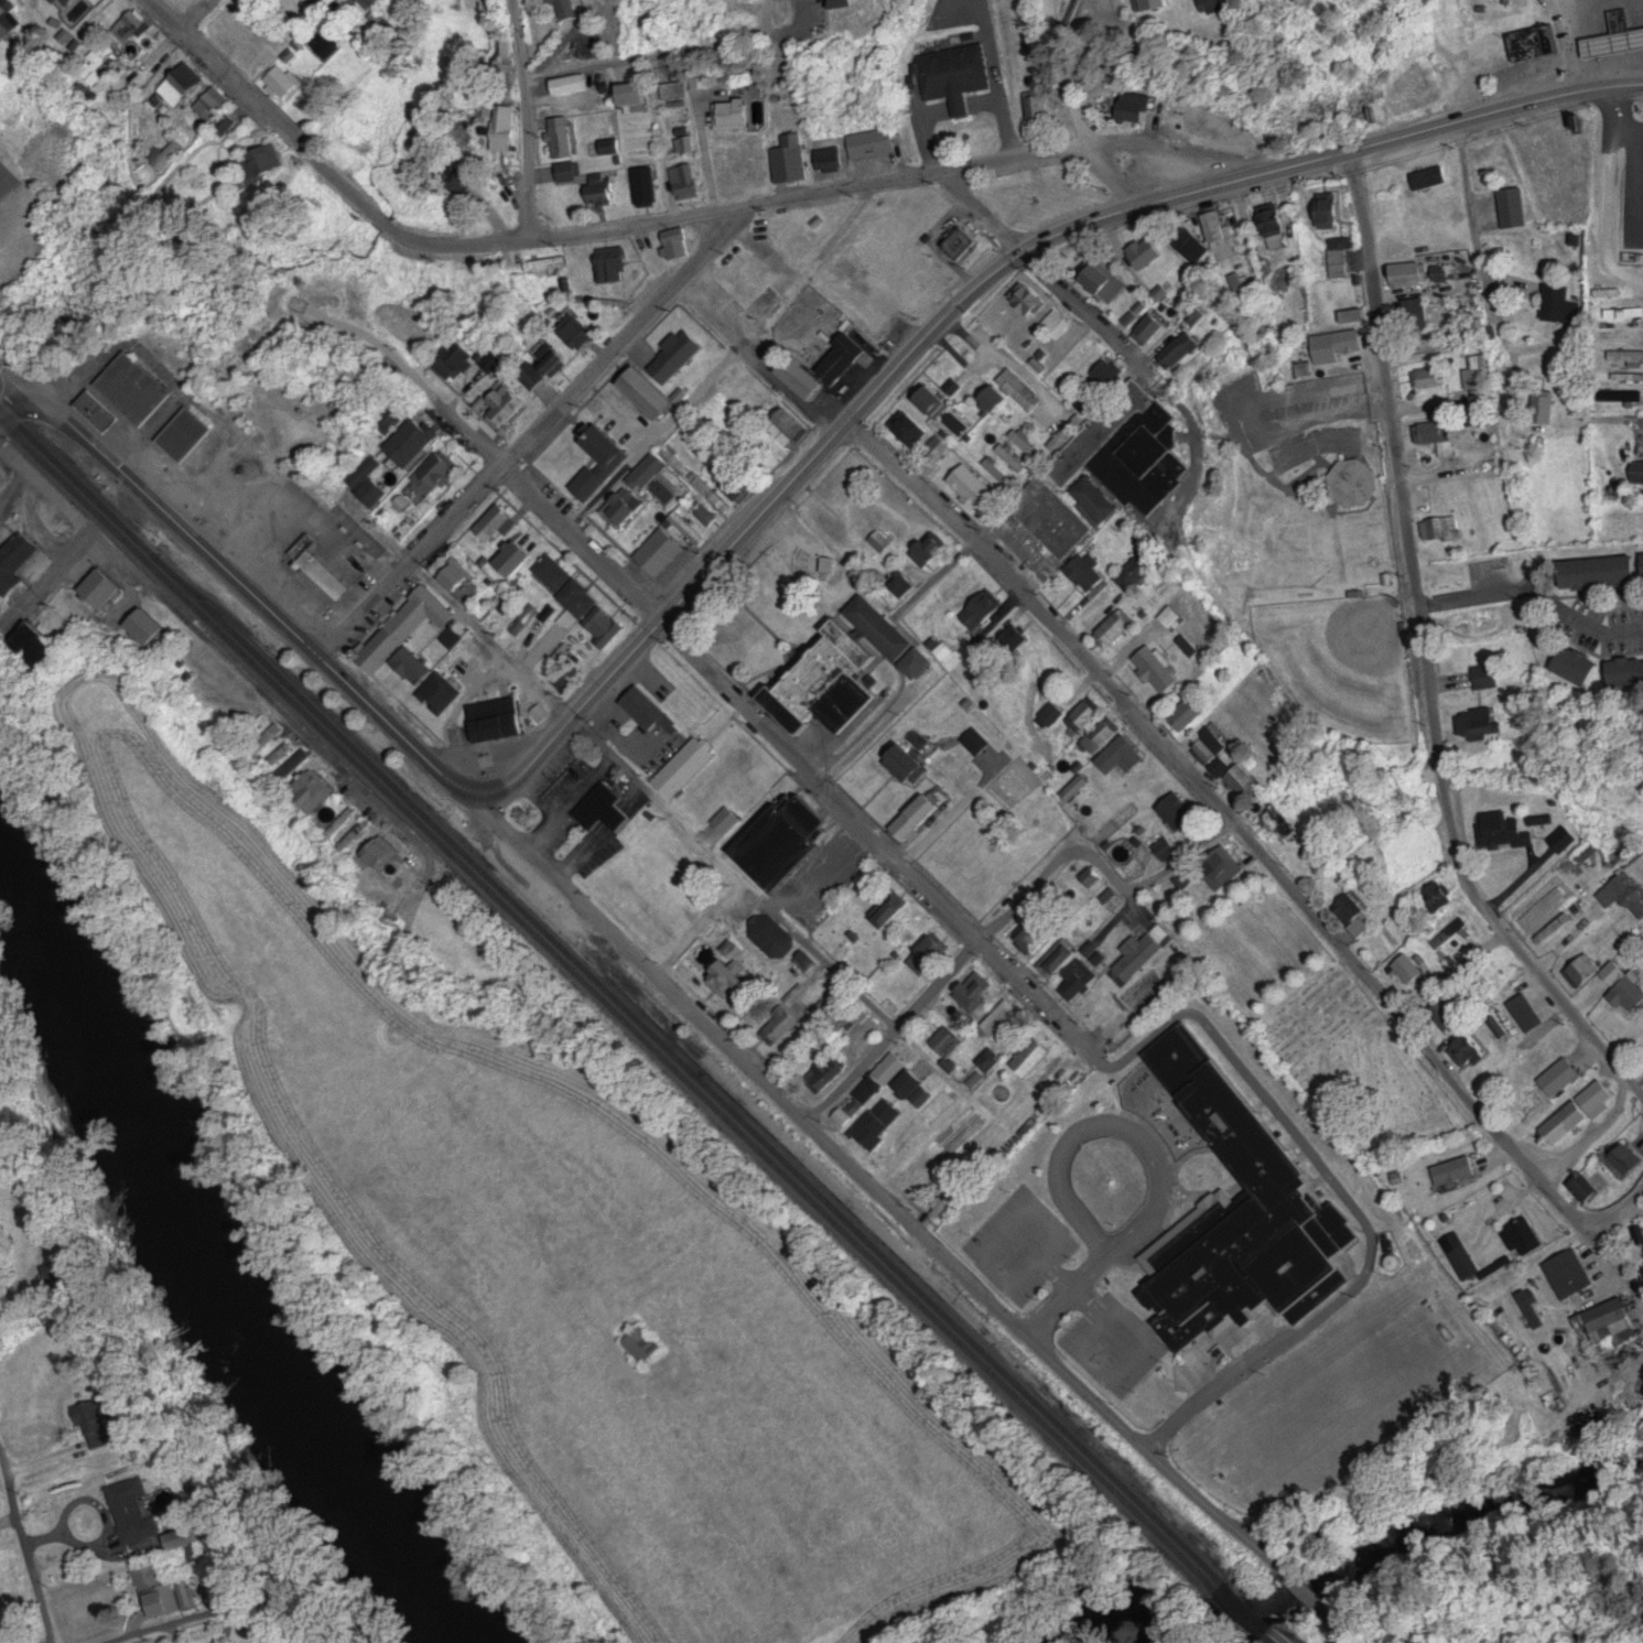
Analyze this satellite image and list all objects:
building: (743, 0)
building: (65, 3)
building: (376, 3)
building: (570, 9)
building: (2, 11)
road: (196, 15)
building: (129, 28)
road: (366, 31)
road: (1576, 43)
building: (328, 45)
building: (506, 57)
building: (98, 64)
road: (1071, 74)
building: (699, 80)
building: (282, 83)
building: (569, 85)
building: (180, 87)
building: (675, 91)
building: (637, 99)
building: (210, 107)
building: (736, 116)
road: (527, 117)
building: (226, 127)
building: (336, 128)
building: (500, 129)
building: (560, 138)
building: (872, 144)
building: (684, 147)
building: (612, 148)
building: (163, 155)
building: (790, 161)
building: (830, 161)
building: (259, 165)
building: (566, 173)
building: (684, 182)
building: (644, 186)
building: (599, 192)
road: (402, 237)
building: (961, 244)
building: (674, 245)
building: (543, 263)
building: (608, 264)
road: (678, 278)
building: (741, 280)
road: (974, 293)
road: (1056, 296)
building: (876, 317)
building: (572, 332)
building: (677, 358)
building: (842, 358)
building: (467, 360)
building: (543, 366)
building: (806, 379)
road: (17, 380)
building: (1018, 388)
building: (136, 390)
building: (742, 390)
building: (648, 396)
building: (933, 400)
building: (996, 401)
road: (17, 406)
building: (502, 406)
building: (788, 429)
building: (908, 430)
building: (186, 436)
building: (413, 444)
building: (1025, 445)
building: (603, 451)
building: (936, 452)
building: (1012, 460)
building: (673, 462)
building: (434, 474)
building: (645, 474)
building: (998, 474)
building: (1107, 474)
building: (588, 486)
building: (970, 487)
building: (709, 494)
building: (620, 512)
building: (702, 514)
building: (493, 522)
building: (799, 544)
building: (659, 553)
building: (928, 553)
building: (17, 564)
building: (1139, 573)
building: (551, 574)
building: (1090, 574)
building: (455, 575)
building: (326, 577)
building: (904, 584)
building: (105, 587)
road: (1536, 588)
road: (258, 592)
building: (575, 605)
building: (1172, 617)
building: (150, 626)
building: (604, 627)
building: (407, 628)
building: (880, 628)
building: (1114, 630)
building: (454, 638)
building: (1015, 639)
road: (1425, 657)
building: (917, 663)
building: (1159, 670)
road: (706, 673)
building: (426, 681)
building: (828, 685)
building: (214, 700)
building: (646, 710)
building: (1049, 716)
building: (1083, 717)
building: (1189, 717)
building: (498, 722)
building: (272, 734)
building: (1102, 736)
building: (282, 754)
building: (1124, 757)
building: (299, 763)
building: (1224, 763)
building: (910, 764)
building: (684, 769)
building: (314, 792)
building: (1074, 796)
building: (605, 810)
building: (1178, 812)
building: (920, 817)
building: (343, 821)
building: (725, 821)
building: (1273, 823)
road: (1245, 839)
building: (786, 841)
road: (423, 844)
building: (1167, 850)
building: (385, 852)
road: (1099, 865)
building: (1225, 868)
road: (738, 872)
road: (1481, 877)
building: (1091, 878)
building: (891, 909)
building: (1355, 919)
building: (1034, 937)
building: (774, 939)
building: (933, 952)
building: (1143, 952)
building: (1060, 960)
building: (1409, 970)
building: (1078, 980)
railway: (612, 981)
building: (727, 981)
building: (976, 993)
building: (1161, 1024)
railway: (642, 1025)
building: (1005, 1025)
building: (782, 1026)
railway: (636, 1031)
road: (896, 1034)
building: (947, 1042)
building: (1031, 1058)
building: (992, 1062)
building: (891, 1070)
building: (1064, 1079)
building: (915, 1083)
road: (877, 1094)
building: (876, 1122)
road: (1585, 1131)
building: (921, 1171)
building: (1428, 1172)
road: (858, 1177)
building: (1181, 1186)
building: (1590, 1187)
road: (1640, 1196)
building: (944, 1208)
building: (1523, 1239)
river: (229, 1253)
road: (1603, 1258)
building: (1463, 1263)
building: (1569, 1275)
building: (1613, 1322)
road: (979, 1391)
building: (96, 1428)
building: (134, 1512)
building: (188, 1538)
road: (28, 1553)
building: (164, 1591)
road: (1298, 1597)
road: (143, 1633)

